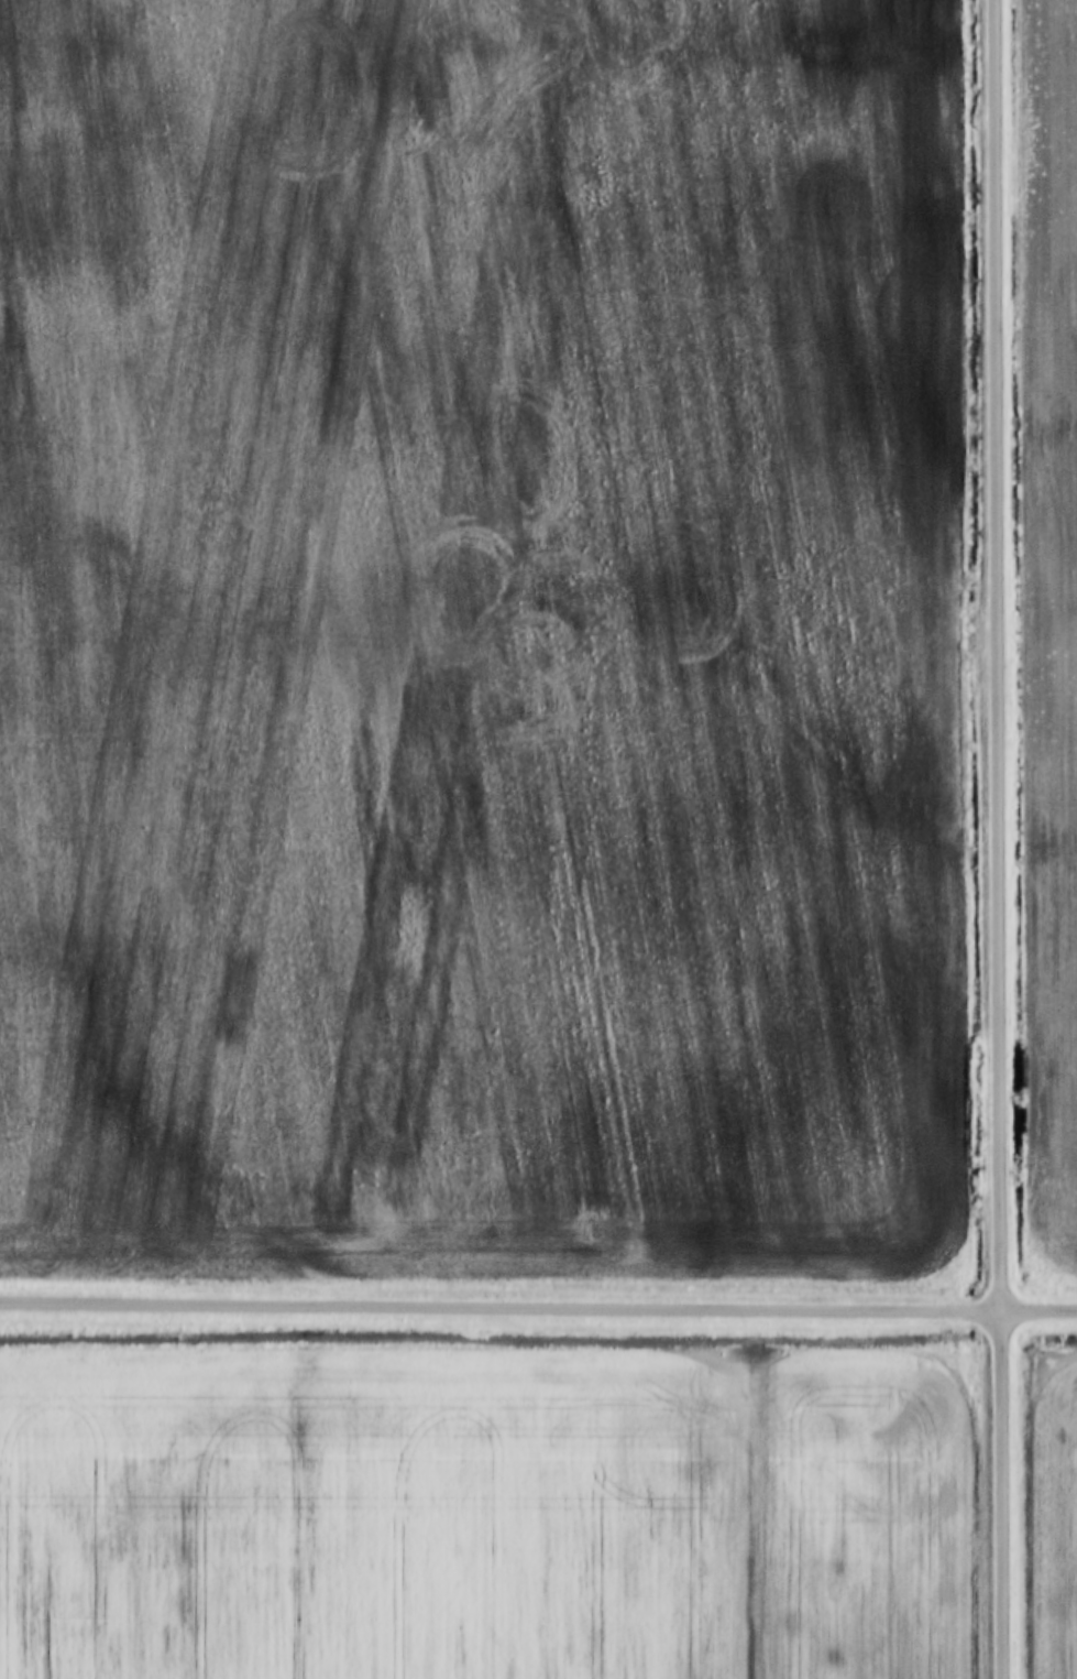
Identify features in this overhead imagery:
road: (996, 839)
road: (538, 1307)

